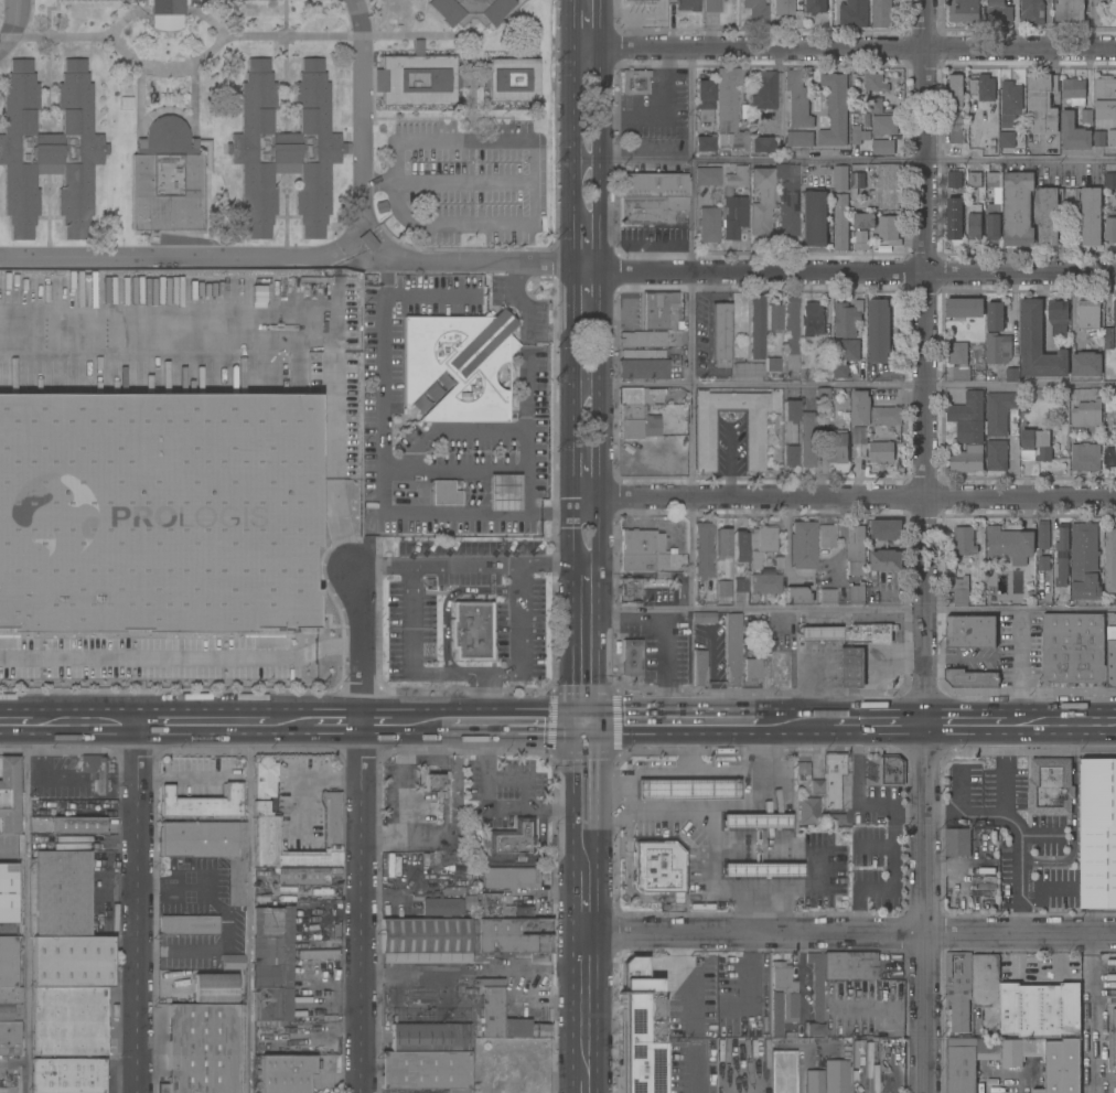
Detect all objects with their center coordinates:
building: (72, 0)
building: (632, 1)
building: (687, 4)
building: (711, 6)
building: (815, 6)
building: (781, 7)
building: (963, 10)
building: (1070, 10)
building: (470, 11)
building: (755, 11)
building: (999, 11)
building: (1032, 11)
building: (854, 13)
building: (881, 13)
building: (165, 14)
building: (393, 14)
road: (575, 24)
road: (603, 24)
road: (14, 28)
road: (859, 47)
road: (589, 49)
building: (417, 78)
building: (512, 79)
building: (635, 82)
building: (874, 82)
building: (984, 87)
building: (762, 90)
building: (956, 90)
building: (1074, 90)
building: (1105, 97)
building: (1011, 98)
building: (704, 99)
building: (797, 99)
building: (1041, 104)
building: (873, 105)
road: (361, 108)
building: (728, 109)
building: (835, 110)
road: (664, 114)
building: (1086, 116)
building: (883, 125)
building: (1073, 132)
building: (858, 133)
building: (955, 133)
building: (1098, 138)
building: (798, 139)
building: (1007, 139)
building: (1112, 139)
road: (463, 142)
building: (702, 143)
building: (760, 144)
building: (883, 147)
building: (285, 148)
building: (49, 149)
road: (575, 156)
road: (603, 159)
road: (859, 159)
road: (530, 162)
building: (785, 172)
building: (706, 176)
building: (840, 178)
building: (954, 179)
building: (975, 179)
building: (165, 180)
building: (857, 180)
building: (992, 180)
building: (1110, 180)
parking lot: (463, 181)
road: (447, 183)
building: (653, 185)
building: (886, 187)
building: (760, 200)
building: (733, 203)
road: (532, 205)
building: (1017, 208)
building: (651, 210)
building: (787, 210)
building: (1048, 216)
building: (1091, 216)
building: (814, 218)
building: (954, 218)
building: (863, 219)
building: (992, 221)
building: (840, 222)
building: (975, 222)
building: (708, 225)
road: (427, 227)
building: (889, 228)
building: (1110, 229)
road: (380, 238)
building: (861, 240)
building: (367, 243)
road: (358, 256)
road: (190, 257)
road: (740, 272)
road: (602, 294)
building: (964, 307)
building: (658, 311)
building: (1114, 312)
building: (1088, 313)
building: (1059, 314)
building: (995, 317)
building: (773, 318)
building: (847, 318)
building: (812, 319)
road: (573, 323)
building: (791, 324)
building: (756, 326)
building: (879, 330)
building: (719, 334)
building: (1108, 337)
building: (641, 339)
building: (1037, 343)
building: (998, 347)
building: (847, 349)
building: (958, 353)
building: (827, 354)
road: (333, 356)
road: (927, 361)
building: (1086, 363)
building: (642, 364)
building: (772, 364)
building: (458, 365)
building: (747, 369)
building: (840, 369)
building: (961, 373)
building: (1011, 373)
road: (588, 383)
road: (859, 383)
road: (688, 385)
building: (825, 395)
building: (630, 396)
building: (1110, 401)
building: (790, 410)
building: (871, 410)
building: (998, 411)
building: (1087, 412)
road: (573, 417)
building: (967, 417)
building: (1115, 420)
building: (636, 422)
building: (807, 439)
building: (704, 440)
building: (858, 441)
building: (1035, 444)
building: (837, 447)
building: (881, 451)
building: (997, 454)
building: (790, 456)
building: (1085, 457)
building: (1110, 457)
building: (967, 459)
road: (728, 463)
road: (575, 475)
building: (503, 492)
building: (444, 493)
road: (845, 497)
building: (266, 504)
road: (406, 513)
building: (108, 515)
road: (602, 521)
building: (887, 529)
building: (1043, 534)
road: (575, 535)
building: (826, 535)
building: (161, 537)
building: (266, 537)
building: (1062, 539)
building: (964, 540)
building: (641, 543)
building: (721, 543)
building: (760, 544)
building: (1009, 544)
building: (801, 545)
building: (739, 546)
building: (856, 549)
building: (702, 550)
road: (689, 551)
building: (886, 560)
building: (1085, 560)
building: (1110, 560)
road: (466, 562)
building: (636, 562)
building: (1043, 562)
building: (1062, 567)
building: (764, 583)
building: (739, 586)
building: (722, 589)
building: (629, 590)
building: (962, 591)
building: (857, 593)
building: (796, 596)
building: (827, 596)
building: (124, 601)
road: (858, 608)
building: (702, 618)
building: (470, 630)
building: (970, 631)
building: (868, 633)
building: (819, 634)
building: (763, 644)
road: (573, 647)
building: (772, 647)
building: (1073, 649)
building: (731, 650)
road: (181, 651)
building: (1112, 656)
building: (631, 657)
road: (661, 664)
building: (851, 667)
building: (699, 668)
building: (751, 669)
road: (463, 672)
building: (780, 673)
building: (969, 678)
road: (483, 697)
road: (672, 721)
road: (82, 722)
road: (202, 722)
road: (397, 722)
road: (511, 722)
traffic signals: (587, 722)
road: (841, 722)
road: (975, 722)
road: (1070, 722)
road: (12, 724)
road: (288, 724)
road: (335, 724)
road: (421, 756)
building: (893, 769)
road: (745, 772)
road: (664, 773)
building: (100, 774)
road: (181, 778)
road: (329, 778)
building: (834, 778)
building: (431, 780)
road: (517, 781)
road: (856, 784)
building: (816, 786)
building: (1050, 786)
road: (587, 789)
building: (687, 790)
road: (443, 792)
building: (9, 795)
road: (452, 797)
road: (407, 800)
building: (202, 802)
building: (332, 806)
road: (742, 806)
road: (1008, 808)
building: (808, 810)
road: (911, 814)
building: (835, 819)
building: (755, 821)
building: (77, 825)
building: (1098, 833)
road: (709, 836)
building: (512, 840)
building: (957, 842)
road: (874, 846)
building: (210, 848)
road: (808, 850)
building: (658, 868)
building: (761, 870)
road: (1019, 871)
building: (304, 876)
building: (509, 878)
road: (890, 886)
building: (8, 893)
building: (62, 893)
road: (587, 894)
building: (489, 906)
building: (441, 907)
building: (700, 907)
road: (25, 908)
road: (139, 908)
road: (247, 908)
road: (362, 908)
road: (926, 908)
building: (271, 922)
building: (187, 925)
road: (851, 933)
building: (512, 935)
building: (423, 942)
building: (315, 954)
building: (8, 962)
building: (72, 962)
building: (232, 962)
building: (271, 963)
building: (850, 965)
road: (473, 969)
road: (750, 983)
building: (214, 988)
building: (958, 988)
building: (987, 989)
building: (815, 995)
building: (10, 996)
building: (782, 998)
road: (586, 999)
building: (271, 1004)
building: (1039, 1009)
road: (693, 1010)
building: (10, 1012)
road: (1094, 1014)
building: (440, 1017)
building: (505, 1019)
building: (68, 1021)
building: (639, 1027)
building: (202, 1030)
building: (1114, 1036)
building: (429, 1037)
building: (10, 1039)
road: (797, 1049)
building: (754, 1052)
building: (1048, 1061)
building: (968, 1062)
building: (425, 1070)
building: (782, 1072)
building: (285, 1073)
building: (67, 1075)
building: (202, 1075)
road: (740, 1076)
building: (836, 1076)
road: (586, 1080)
building: (814, 1082)
building: (458, 1091)
building: (1115, 1092)

